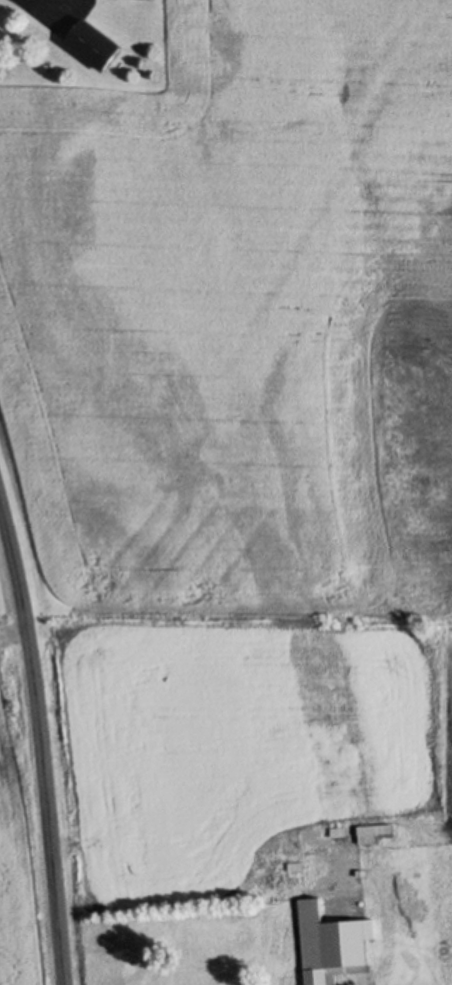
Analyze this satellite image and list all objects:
building: (96, 48)
road: (42, 736)
building: (373, 824)
building: (339, 825)
building: (374, 832)
building: (289, 861)
building: (289, 867)
building: (252, 906)
building: (334, 931)

